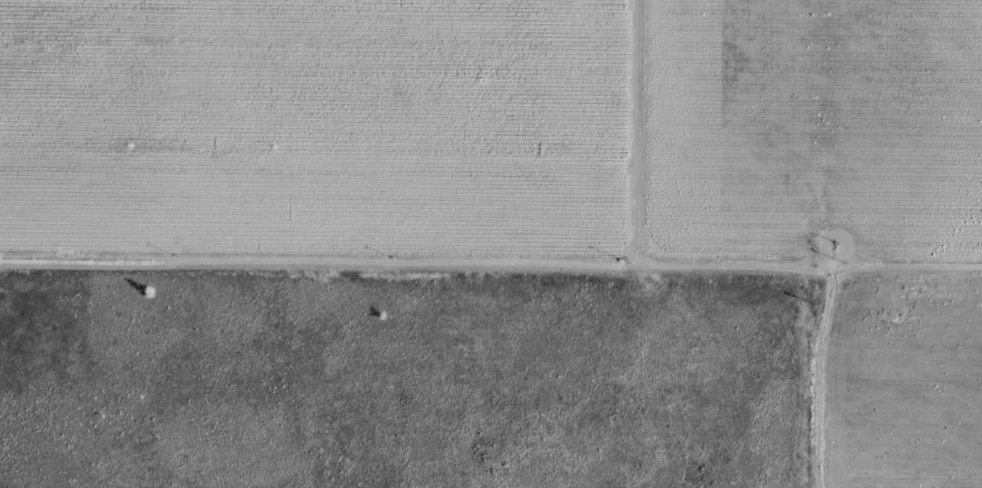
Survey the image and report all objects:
road: (818, 244)
road: (490, 273)

